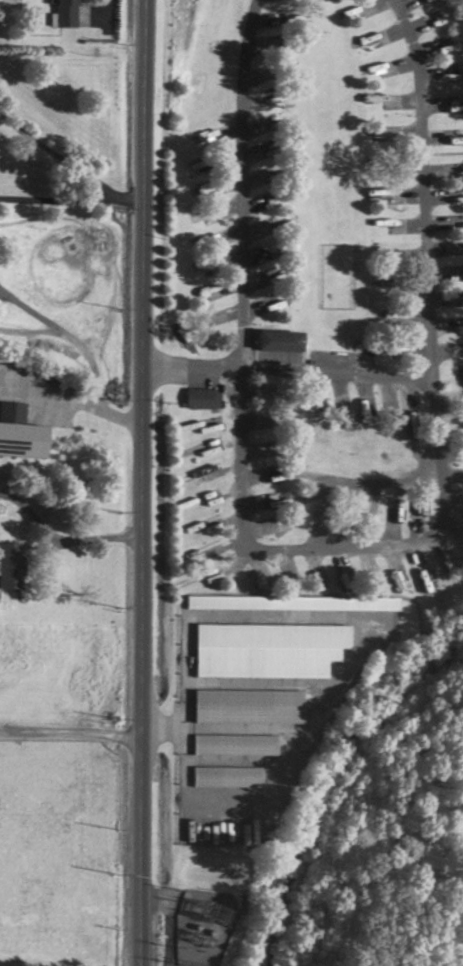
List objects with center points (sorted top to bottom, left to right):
building: (65, 13)
building: (454, 172)
road: (72, 198)
building: (455, 199)
building: (199, 218)
building: (280, 340)
road: (285, 370)
building: (203, 399)
building: (316, 417)
building: (203, 423)
building: (366, 423)
building: (411, 426)
building: (201, 447)
building: (202, 472)
road: (140, 482)
building: (327, 488)
building: (201, 498)
building: (269, 500)
building: (398, 506)
building: (347, 513)
building: (320, 518)
building: (201, 524)
road: (340, 545)
building: (461, 548)
building: (201, 550)
building: (11, 565)
building: (451, 575)
building: (199, 578)
building: (317, 583)
building: (424, 583)
building: (346, 587)
building: (265, 589)
building: (248, 705)
road: (70, 731)
building: (235, 744)
building: (227, 776)
power substation: (202, 925)

